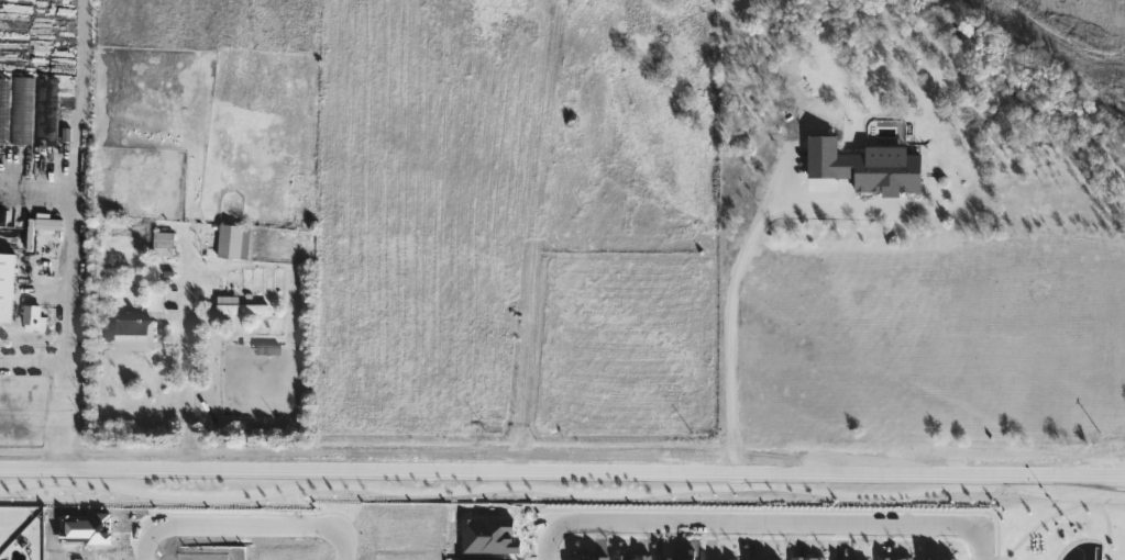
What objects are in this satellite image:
building: (3, 110)
building: (231, 240)
building: (162, 243)
building: (5, 283)
road: (66, 293)
building: (236, 305)
road: (728, 324)
building: (132, 334)
road: (32, 366)
road: (186, 369)
road: (562, 458)
road: (768, 524)
road: (252, 525)
road: (548, 544)
road: (150, 545)
road: (983, 545)
road: (344, 549)

